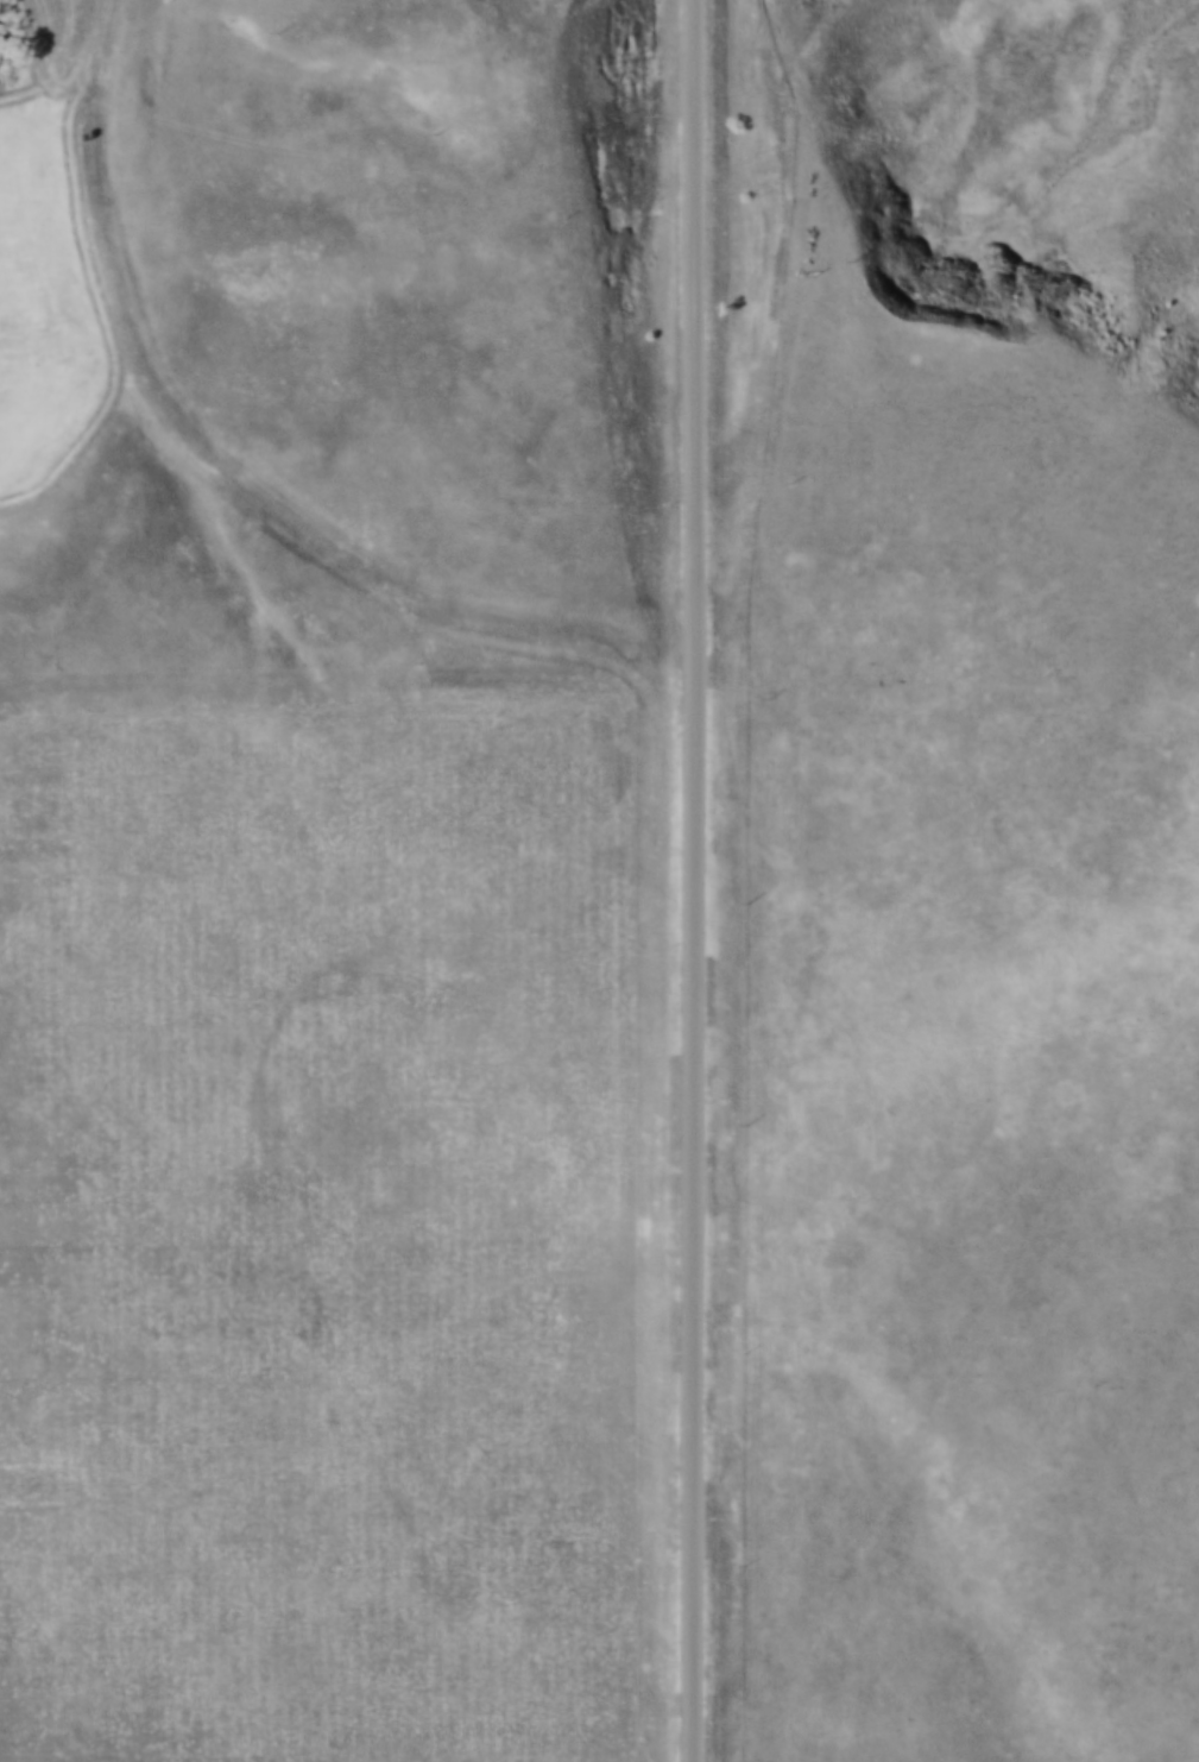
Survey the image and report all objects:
road: (700, 880)

